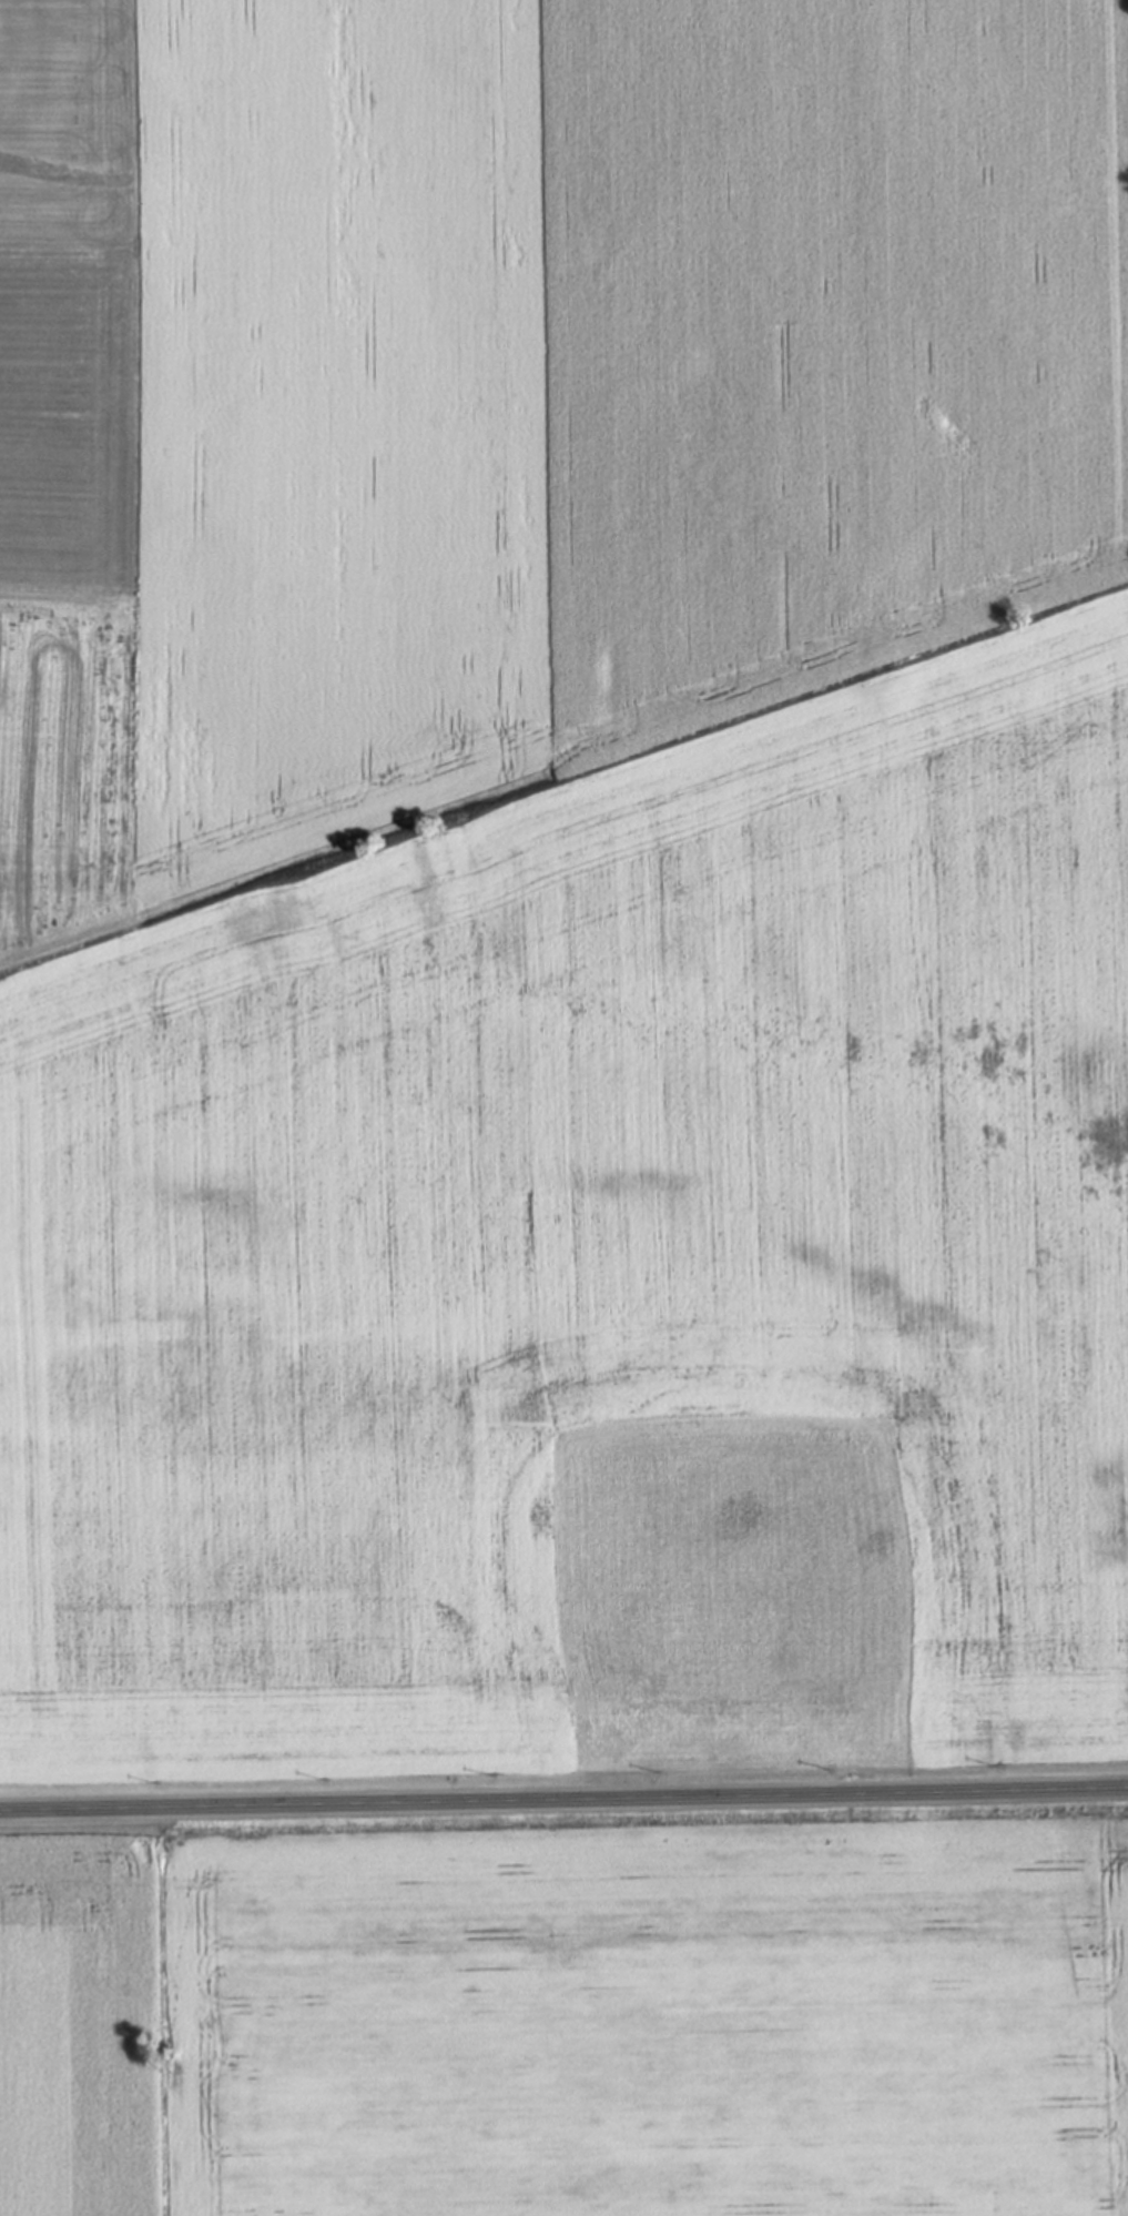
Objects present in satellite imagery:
road: (563, 1799)

